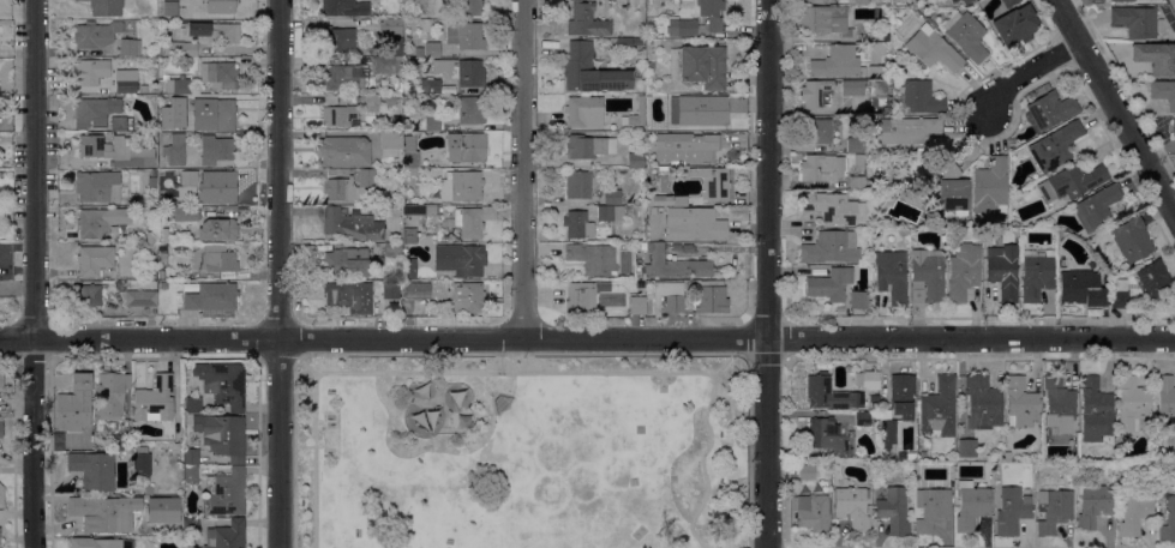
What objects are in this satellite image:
building: (1121, 0)
building: (953, 1)
building: (965, 1)
building: (863, 2)
building: (1008, 2)
park: (1171, 5)
building: (220, 6)
building: (106, 7)
building: (469, 7)
building: (169, 8)
building: (343, 8)
building: (711, 13)
building: (586, 20)
road: (1069, 20)
building: (826, 22)
building: (1137, 22)
building: (946, 23)
building: (1014, 25)
building: (663, 28)
building: (687, 28)
building: (215, 31)
building: (392, 31)
building: (466, 36)
building: (967, 36)
building: (107, 37)
building: (337, 40)
building: (623, 42)
building: (637, 42)
building: (180, 49)
building: (931, 49)
building: (432, 50)
building: (396, 52)
building: (1155, 58)
building: (406, 61)
building: (835, 62)
building: (388, 66)
building: (649, 66)
building: (699, 66)
building: (462, 71)
building: (591, 71)
building: (89, 72)
building: (218, 74)
road: (1027, 74)
building: (343, 78)
building: (126, 83)
building: (178, 85)
building: (430, 86)
building: (397, 88)
building: (855, 88)
building: (880, 88)
building: (143, 89)
building: (814, 92)
building: (1163, 92)
building: (918, 97)
building: (389, 100)
building: (371, 103)
building: (468, 110)
building: (582, 110)
building: (95, 112)
building: (1048, 112)
building: (699, 113)
building: (637, 114)
building: (214, 115)
building: (338, 115)
building: (396, 119)
building: (119, 124)
building: (432, 124)
road: (1128, 127)
building: (1173, 127)
building: (814, 131)
building: (905, 131)
building: (389, 140)
building: (1012, 141)
building: (651, 144)
building: (855, 145)
building: (587, 146)
building: (1055, 146)
building: (463, 147)
building: (687, 149)
building: (175, 150)
building: (216, 150)
building: (115, 151)
building: (343, 151)
building: (408, 156)
building: (635, 161)
building: (858, 162)
road: (522, 168)
building: (821, 170)
building: (409, 173)
building: (711, 182)
building: (856, 182)
building: (1071, 182)
building: (188, 183)
building: (868, 185)
building: (98, 186)
building: (350, 186)
building: (461, 186)
building: (577, 186)
building: (990, 187)
building: (952, 191)
building: (215, 193)
building: (612, 197)
building: (666, 200)
building: (833, 207)
building: (1097, 207)
building: (420, 210)
building: (185, 213)
building: (610, 213)
building: (885, 221)
building: (98, 222)
building: (468, 223)
building: (348, 224)
building: (694, 224)
building: (577, 225)
building: (217, 230)
building: (903, 234)
building: (150, 236)
building: (409, 236)
building: (142, 239)
building: (1129, 241)
building: (831, 247)
building: (392, 249)
building: (151, 252)
building: (162, 258)
building: (594, 258)
building: (460, 259)
building: (5, 260)
building: (94, 260)
building: (215, 261)
building: (344, 263)
building: (673, 264)
building: (408, 269)
building: (1002, 270)
building: (963, 271)
road: (32, 273)
road: (277, 273)
road: (766, 273)
building: (1036, 275)
building: (891, 276)
building: (927, 278)
building: (1155, 281)
building: (829, 284)
building: (1080, 288)
building: (416, 290)
building: (390, 291)
building: (90, 295)
building: (349, 296)
building: (468, 297)
building: (583, 297)
building: (667, 297)
building: (711, 297)
building: (140, 299)
building: (212, 300)
building: (858, 300)
building: (1115, 301)
building: (637, 305)
road: (587, 338)
road: (521, 354)
road: (500, 362)
road: (438, 363)
road: (306, 366)
road: (720, 366)
road: (520, 372)
road: (438, 375)
building: (1, 378)
building: (867, 380)
building: (222, 384)
road: (481, 385)
building: (110, 393)
building: (829, 393)
building: (1165, 397)
building: (154, 401)
building: (982, 403)
building: (1020, 403)
building: (192, 404)
building: (1059, 404)
building: (1131, 404)
building: (74, 405)
building: (897, 409)
building: (939, 409)
building: (1095, 410)
building: (862, 418)
building: (1, 429)
building: (222, 435)
building: (827, 436)
building: (120, 442)
road: (304, 446)
building: (966, 447)
park: (521, 452)
building: (814, 452)
building: (922, 454)
building: (1007, 456)
building: (190, 457)
building: (140, 462)
building: (92, 470)
building: (807, 472)
building: (190, 474)
building: (148, 489)
building: (224, 493)
building: (1, 496)
building: (970, 505)
building: (1093, 505)
building: (1134, 505)
building: (852, 507)
building: (931, 508)
building: (1053, 510)
building: (893, 511)
building: (1011, 511)
building: (811, 512)
building: (104, 513)
building: (1168, 520)
building: (190, 526)
building: (226, 536)
building: (100, 543)

